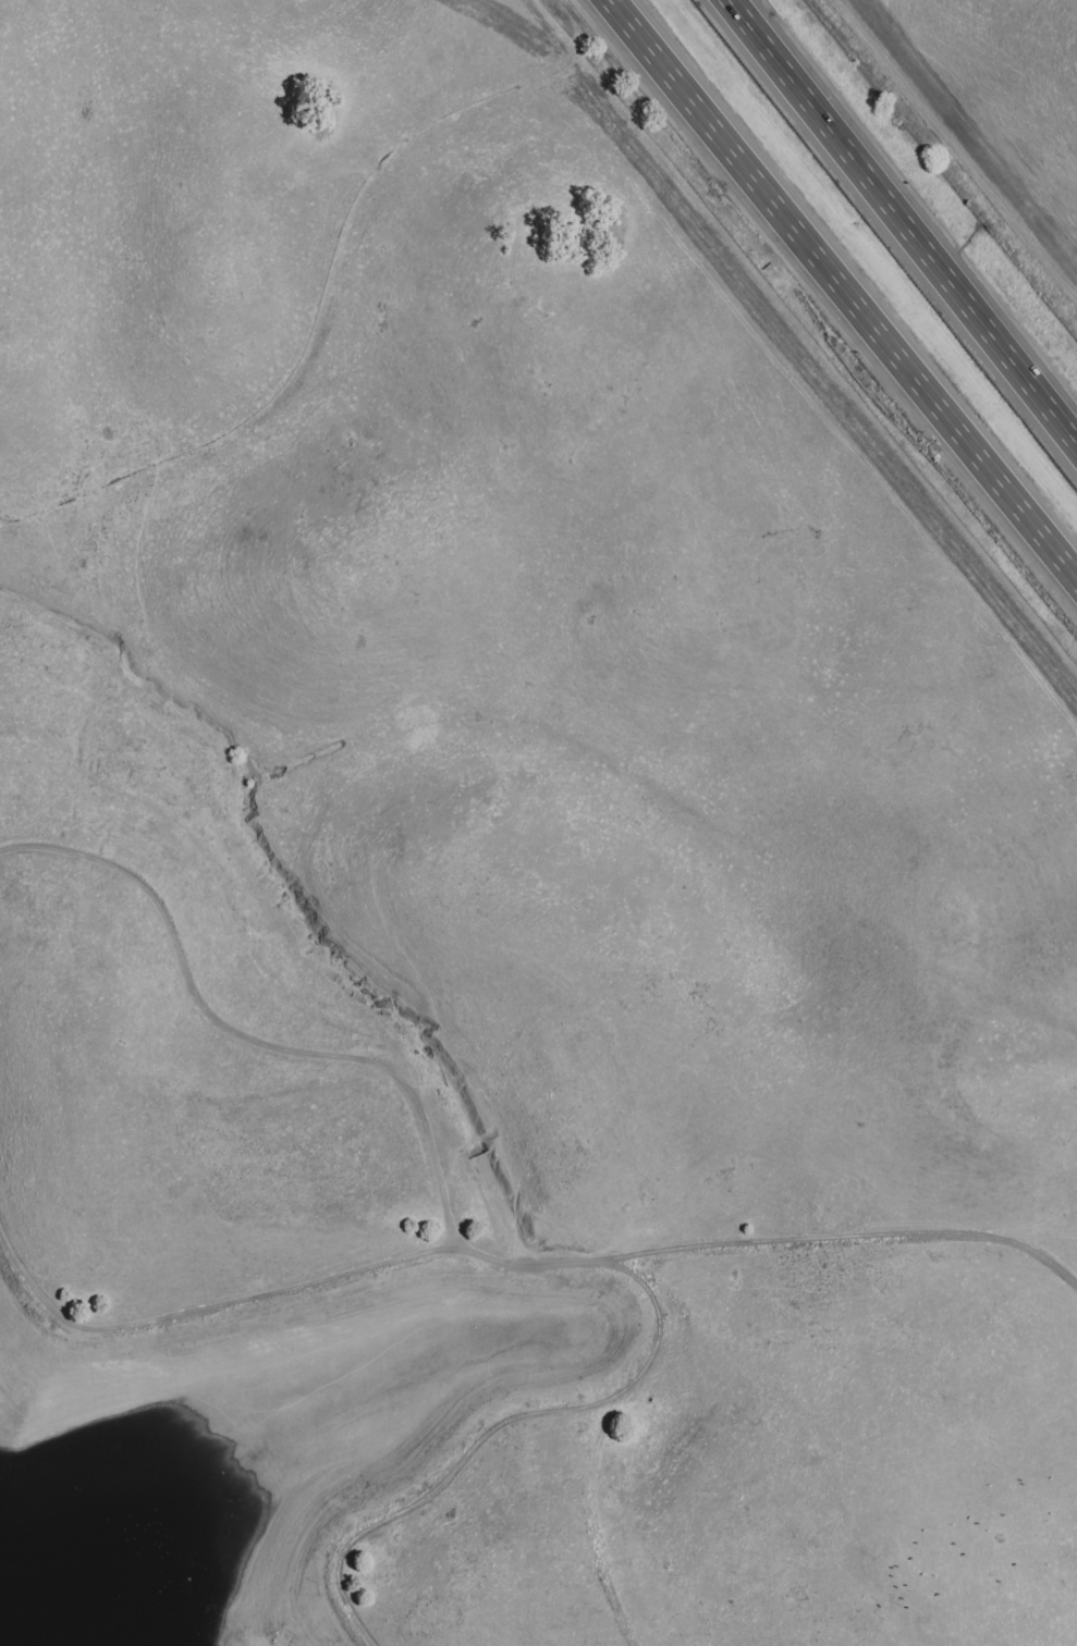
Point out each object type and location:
road: (903, 221)
road: (844, 288)
road: (318, 333)
road: (544, 726)
road: (224, 890)
road: (244, 1036)
road: (510, 1256)
road: (637, 1372)
road: (426, 1486)
road: (598, 1567)

